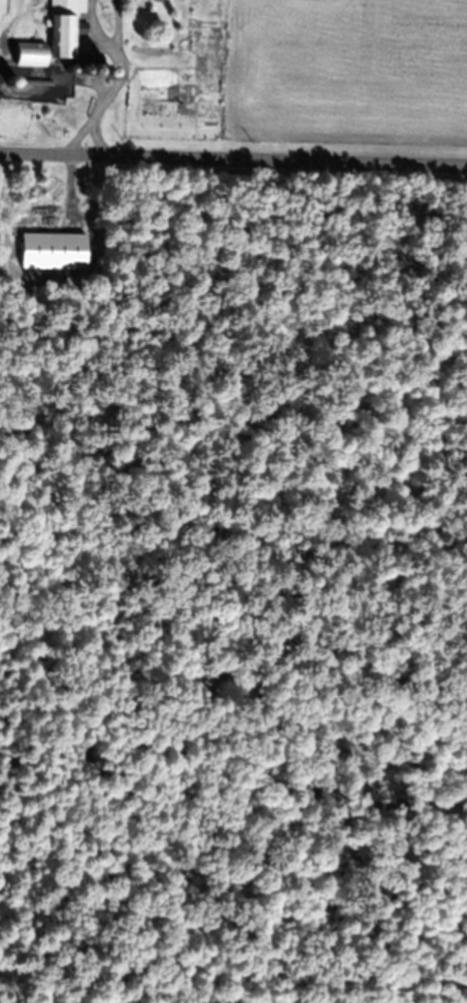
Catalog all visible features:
building: (66, 27)
building: (33, 55)
road: (233, 134)
building: (53, 252)

